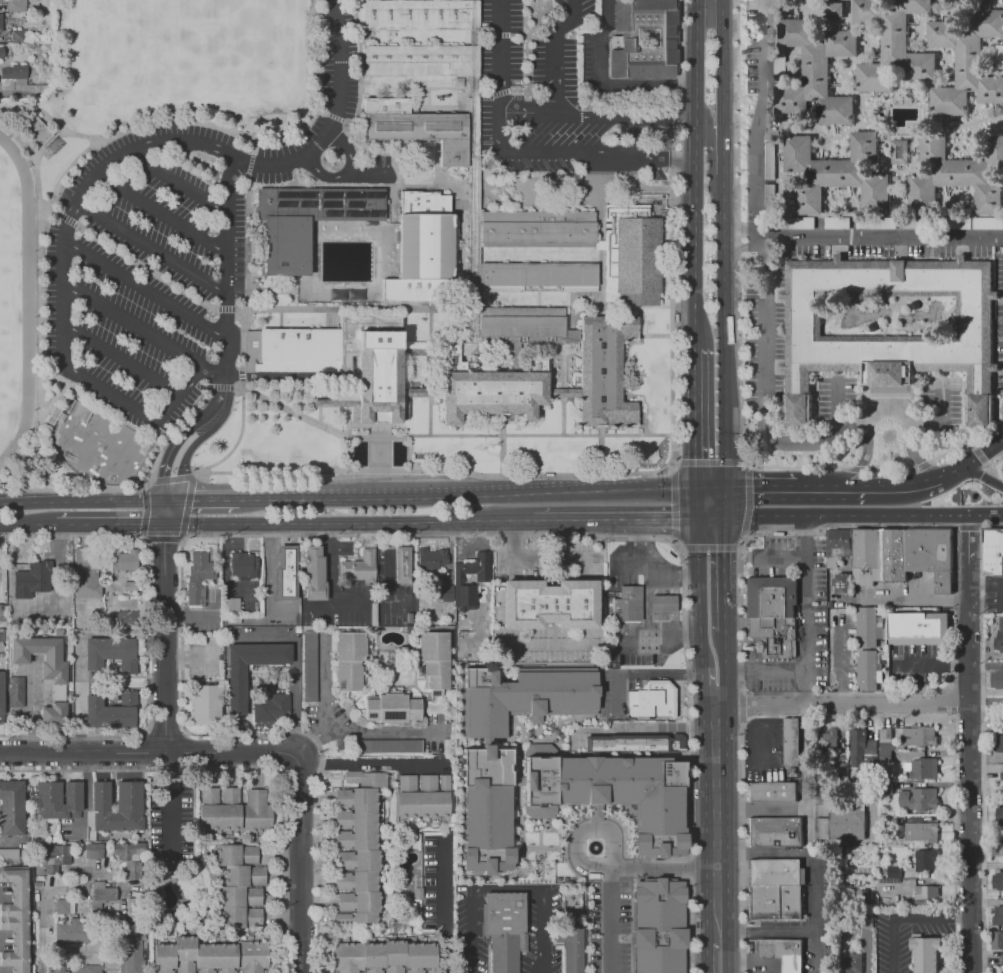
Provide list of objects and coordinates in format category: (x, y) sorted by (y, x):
building: (17, 5)
road: (315, 8)
building: (416, 14)
road: (570, 19)
building: (0, 22)
road: (536, 23)
building: (19, 34)
road: (475, 34)
road: (495, 34)
building: (623, 37)
park: (141, 43)
building: (892, 47)
building: (2, 53)
road: (499, 58)
building: (998, 58)
building: (416, 60)
building: (967, 62)
road: (527, 68)
building: (816, 69)
road: (723, 70)
building: (15, 71)
road: (554, 73)
road: (606, 83)
road: (518, 89)
road: (499, 91)
road: (481, 94)
parking lot: (554, 101)
building: (386, 105)
road: (320, 111)
road: (616, 116)
road: (333, 117)
road: (17, 118)
parking lot: (326, 119)
road: (335, 119)
road: (762, 119)
road: (52, 121)
road: (136, 125)
building: (37, 131)
building: (422, 131)
road: (49, 144)
road: (254, 148)
road: (580, 151)
building: (900, 151)
road: (109, 161)
road: (725, 161)
road: (252, 163)
road: (35, 165)
building: (952, 169)
road: (348, 173)
road: (369, 173)
road: (697, 173)
building: (841, 175)
road: (177, 181)
road: (55, 210)
road: (161, 212)
road: (671, 215)
road: (67, 219)
building: (307, 221)
building: (802, 222)
building: (882, 223)
building: (977, 223)
building: (838, 224)
building: (537, 226)
road: (744, 231)
road: (739, 232)
road: (883, 236)
park: (328, 246)
road: (152, 247)
road: (744, 247)
building: (422, 249)
building: (630, 256)
road: (473, 266)
road: (146, 267)
parking lot: (148, 269)
road: (227, 271)
building: (538, 276)
road: (145, 289)
road: (270, 290)
road: (294, 290)
road: (293, 292)
park: (6, 299)
track: (22, 305)
road: (309, 305)
road: (226, 309)
road: (241, 309)
building: (521, 321)
parking lot: (999, 321)
road: (61, 323)
building: (889, 325)
road: (144, 329)
parking lot: (763, 331)
road: (248, 336)
building: (292, 349)
road: (430, 350)
road: (725, 350)
road: (121, 358)
building: (369, 368)
building: (604, 370)
road: (274, 375)
road: (193, 380)
road: (198, 386)
road: (220, 386)
building: (486, 389)
road: (416, 392)
road: (436, 392)
road: (562, 392)
road: (126, 402)
road: (53, 403)
road: (219, 409)
road: (429, 413)
road: (562, 413)
building: (53, 415)
road: (697, 417)
road: (121, 421)
road: (644, 424)
road: (447, 434)
road: (42, 436)
road: (967, 442)
park: (98, 443)
road: (786, 443)
road: (972, 444)
flagpole: (485, 446)
road: (379, 447)
road: (672, 448)
road: (984, 449)
road: (168, 452)
fountain: (359, 453)
fountain: (399, 453)
road: (502, 454)
road: (912, 454)
road: (600, 457)
traffic signals: (697, 457)
road: (980, 457)
road: (184, 462)
road: (706, 462)
road: (860, 462)
road: (921, 465)
road: (987, 465)
road: (796, 468)
road: (856, 468)
road: (890, 468)
road: (953, 469)
road: (292, 472)
road: (526, 476)
road: (983, 476)
road: (172, 478)
road: (903, 482)
road: (760, 484)
road: (711, 485)
traffic signals: (753, 485)
road: (830, 485)
road: (72, 489)
road: (578, 491)
road: (360, 495)
road: (215, 498)
traffic signals: (169, 500)
road: (84, 501)
road: (186, 507)
road: (146, 512)
road: (166, 512)
road: (864, 517)
road: (711, 519)
road: (656, 520)
traffic signals: (670, 520)
road: (575, 521)
road: (348, 522)
road: (108, 524)
traffic signals: (163, 524)
road: (27, 525)
road: (966, 527)
road: (463, 534)
road: (162, 537)
road: (639, 537)
road: (707, 546)
road: (514, 551)
building: (992, 551)
traffic signals: (726, 552)
building: (901, 555)
building: (431, 558)
road: (779, 558)
building: (837, 558)
building: (127, 560)
road: (553, 561)
building: (402, 564)
road: (726, 564)
building: (201, 565)
building: (244, 565)
building: (361, 566)
road: (271, 567)
road: (645, 571)
road: (698, 571)
road: (683, 572)
building: (316, 573)
building: (86, 574)
building: (285, 574)
building: (459, 577)
building: (32, 578)
road: (331, 578)
building: (130, 586)
building: (196, 595)
road: (903, 600)
building: (547, 603)
road: (516, 604)
building: (627, 604)
building: (664, 604)
gas station: (664, 604)
building: (231, 605)
road: (646, 608)
road: (806, 612)
building: (2, 613)
road: (189, 614)
building: (775, 618)
building: (126, 621)
road: (726, 627)
building: (866, 627)
building: (916, 628)
road: (683, 629)
building: (233, 632)
building: (3, 634)
building: (999, 634)
road: (146, 635)
road: (165, 639)
road: (544, 644)
building: (112, 653)
building: (349, 658)
building: (435, 658)
building: (56, 662)
building: (308, 665)
road: (951, 669)
building: (865, 672)
road: (766, 673)
road: (727, 676)
building: (996, 678)
road: (702, 682)
building: (237, 690)
building: (1, 692)
building: (17, 695)
road: (292, 699)
building: (528, 700)
building: (652, 701)
road: (324, 702)
building: (207, 704)
road: (743, 704)
road: (842, 706)
building: (270, 708)
building: (393, 708)
building: (112, 710)
building: (55, 712)
road: (849, 716)
road: (380, 732)
building: (915, 737)
road: (981, 738)
building: (826, 740)
building: (791, 741)
building: (635, 743)
building: (857, 743)
building: (998, 743)
road: (972, 744)
building: (885, 745)
building: (388, 746)
road: (150, 754)
road: (373, 761)
building: (839, 768)
building: (921, 768)
road: (239, 770)
building: (1001, 781)
building: (772, 792)
building: (616, 794)
building: (423, 795)
building: (130, 797)
building: (60, 799)
building: (920, 799)
building: (11, 807)
building: (234, 808)
building: (488, 808)
road: (761, 808)
road: (714, 813)
building: (999, 814)
building: (841, 825)
road: (581, 831)
building: (921, 831)
building: (774, 832)
road: (808, 840)
building: (999, 845)
building: (359, 847)
fountain: (596, 847)
building: (126, 851)
building: (52, 852)
building: (94, 852)
building: (10, 856)
building: (927, 861)
road: (301, 864)
building: (158, 866)
road: (612, 869)
road: (319, 870)
building: (894, 872)
building: (997, 879)
road: (506, 887)
building: (772, 888)
road: (45, 889)
building: (243, 891)
building: (417, 892)
building: (101, 893)
building: (927, 894)
building: (861, 896)
building: (61, 906)
road: (447, 907)
building: (343, 916)
building: (999, 916)
building: (16, 918)
road: (910, 919)
building: (866, 920)
building: (505, 926)
building: (658, 926)
road: (716, 926)
road: (762, 929)
building: (69, 932)
building: (998, 941)
building: (569, 947)
building: (131, 950)
road: (716, 952)
building: (782, 953)
building: (212, 954)
building: (926, 954)
building: (387, 956)
building: (1002, 962)
building: (850, 964)
building: (73, 969)

